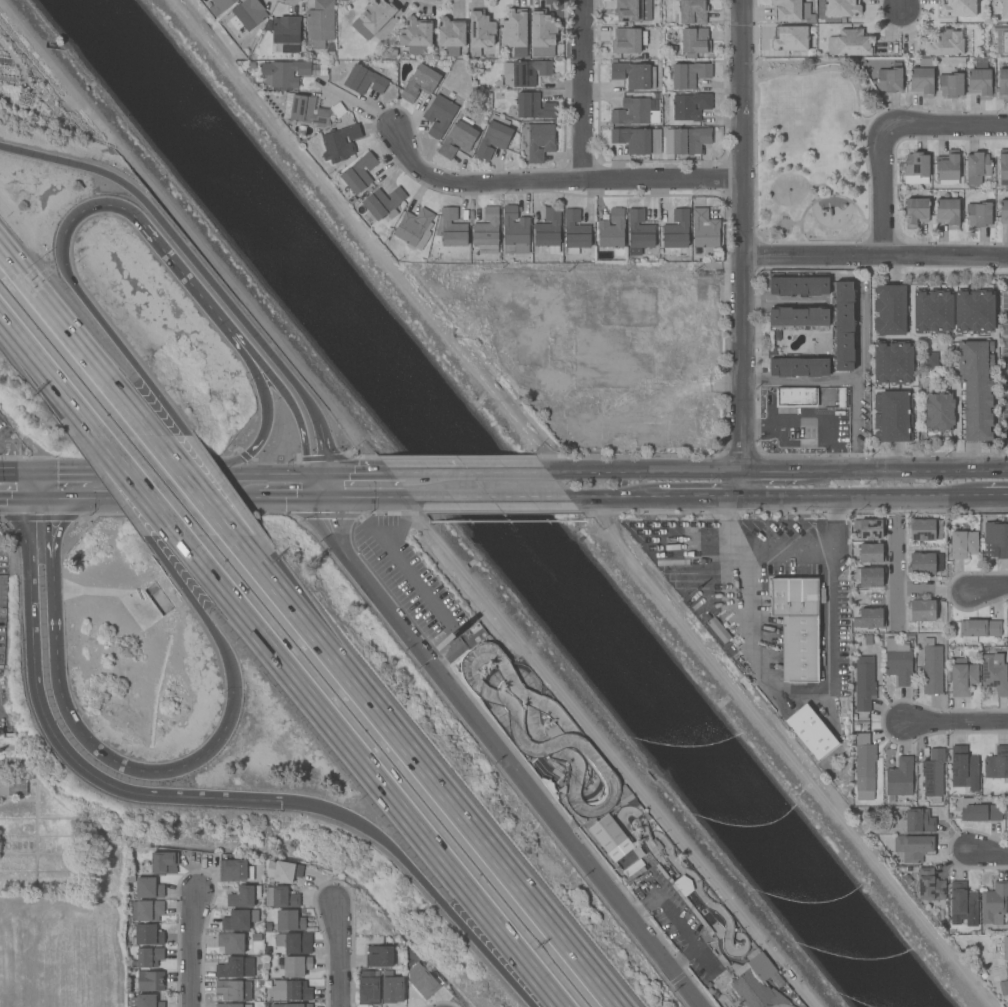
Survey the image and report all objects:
building: (621, 4)
building: (219, 6)
road: (902, 6)
building: (957, 7)
building: (842, 8)
building: (1004, 9)
building: (791, 10)
building: (630, 12)
building: (693, 12)
building: (247, 14)
building: (374, 17)
building: (320, 23)
building: (286, 29)
building: (480, 31)
building: (515, 31)
building: (418, 32)
building: (542, 33)
building: (451, 35)
building: (620, 35)
building: (789, 38)
building: (695, 41)
building: (630, 42)
building: (966, 42)
building: (850, 43)
building: (945, 43)
building: (673, 50)
building: (319, 70)
building: (527, 71)
building: (284, 73)
building: (689, 74)
building: (634, 75)
building: (890, 78)
building: (922, 78)
building: (364, 80)
building: (419, 83)
building: (979, 83)
building: (1003, 84)
building: (950, 85)
road: (583, 90)
building: (533, 106)
building: (690, 106)
building: (337, 109)
building: (305, 110)
building: (633, 112)
building: (439, 115)
road: (946, 125)
building: (494, 137)
building: (457, 139)
building: (538, 140)
building: (638, 140)
building: (686, 140)
building: (340, 143)
park: (812, 150)
building: (1003, 165)
building: (977, 167)
building: (947, 168)
building: (916, 169)
building: (358, 173)
road: (554, 181)
road: (883, 193)
building: (383, 203)
building: (916, 211)
building: (947, 212)
building: (1004, 212)
building: (978, 214)
building: (450, 228)
building: (514, 228)
building: (415, 229)
building: (704, 229)
building: (548, 230)
building: (612, 230)
building: (575, 231)
building: (677, 231)
building: (487, 232)
building: (640, 234)
road: (743, 248)
road: (165, 249)
road: (183, 249)
road: (876, 256)
building: (798, 285)
road: (783, 301)
road: (88, 306)
building: (890, 310)
building: (932, 311)
building: (974, 311)
building: (798, 317)
building: (841, 326)
road: (71, 340)
building: (929, 359)
building: (892, 363)
road: (43, 367)
building: (798, 367)
road: (258, 372)
road: (860, 382)
road: (802, 383)
building: (977, 388)
building: (796, 397)
road: (161, 401)
building: (939, 411)
building: (893, 416)
road: (810, 420)
road: (298, 423)
road: (264, 428)
road: (102, 441)
road: (323, 447)
road: (234, 466)
road: (12, 470)
traffic signals: (25, 470)
road: (34, 470)
traffic signals: (44, 471)
road: (774, 471)
road: (906, 471)
road: (75, 472)
road: (513, 472)
road: (655, 472)
road: (167, 473)
road: (277, 473)
traffic signals: (306, 473)
traffic signals: (326, 473)
road: (365, 473)
road: (432, 473)
road: (25, 484)
road: (44, 484)
road: (723, 484)
road: (326, 485)
road: (845, 496)
road: (977, 496)
road: (466, 497)
road: (596, 497)
road: (694, 497)
road: (35, 498)
traffic signals: (45, 498)
road: (151, 498)
road: (291, 498)
traffic signals: (326, 498)
road: (355, 498)
road: (13, 499)
traffic signals: (26, 499)
road: (200, 500)
road: (220, 501)
road: (134, 502)
road: (153, 503)
building: (870, 528)
building: (921, 529)
building: (997, 538)
building: (962, 544)
building: (871, 553)
building: (921, 563)
road: (175, 577)
building: (871, 577)
road: (417, 581)
road: (988, 589)
road: (899, 590)
road: (895, 607)
building: (921, 610)
building: (871, 618)
building: (797, 626)
building: (980, 628)
building: (718, 630)
building: (1006, 632)
road: (228, 656)
building: (898, 661)
building: (931, 668)
building: (994, 673)
building: (963, 679)
building: (864, 683)
road: (800, 694)
road: (66, 720)
road: (958, 720)
building: (811, 732)
road: (54, 738)
road: (784, 749)
road: (507, 756)
building: (864, 762)
building: (997, 764)
building: (962, 765)
road: (372, 771)
building: (933, 775)
building: (899, 777)
building: (13, 787)
road: (435, 789)
traffic signals: (280, 801)
building: (978, 811)
building: (919, 821)
road: (374, 834)
building: (612, 838)
building: (914, 847)
road: (988, 855)
building: (161, 863)
building: (633, 867)
building: (235, 870)
building: (283, 871)
building: (634, 875)
building: (930, 887)
building: (148, 888)
building: (244, 896)
building: (280, 897)
building: (994, 903)
building: (962, 905)
building: (147, 910)
building: (695, 913)
road: (674, 918)
building: (238, 919)
building: (289, 920)
building: (148, 934)
building: (231, 943)
building: (298, 943)
building: (1005, 948)
park: (62, 949)
road: (191, 949)
road: (501, 952)
road: (338, 953)
building: (379, 956)
building: (148, 957)
building: (296, 966)
building: (238, 968)
building: (149, 981)
building: (422, 981)
building: (757, 982)
building: (1004, 984)
building: (369, 987)
building: (392, 988)
building: (233, 990)
building: (291, 990)
building: (147, 1001)
road: (560, 1002)
building: (233, 1005)
building: (291, 1005)

